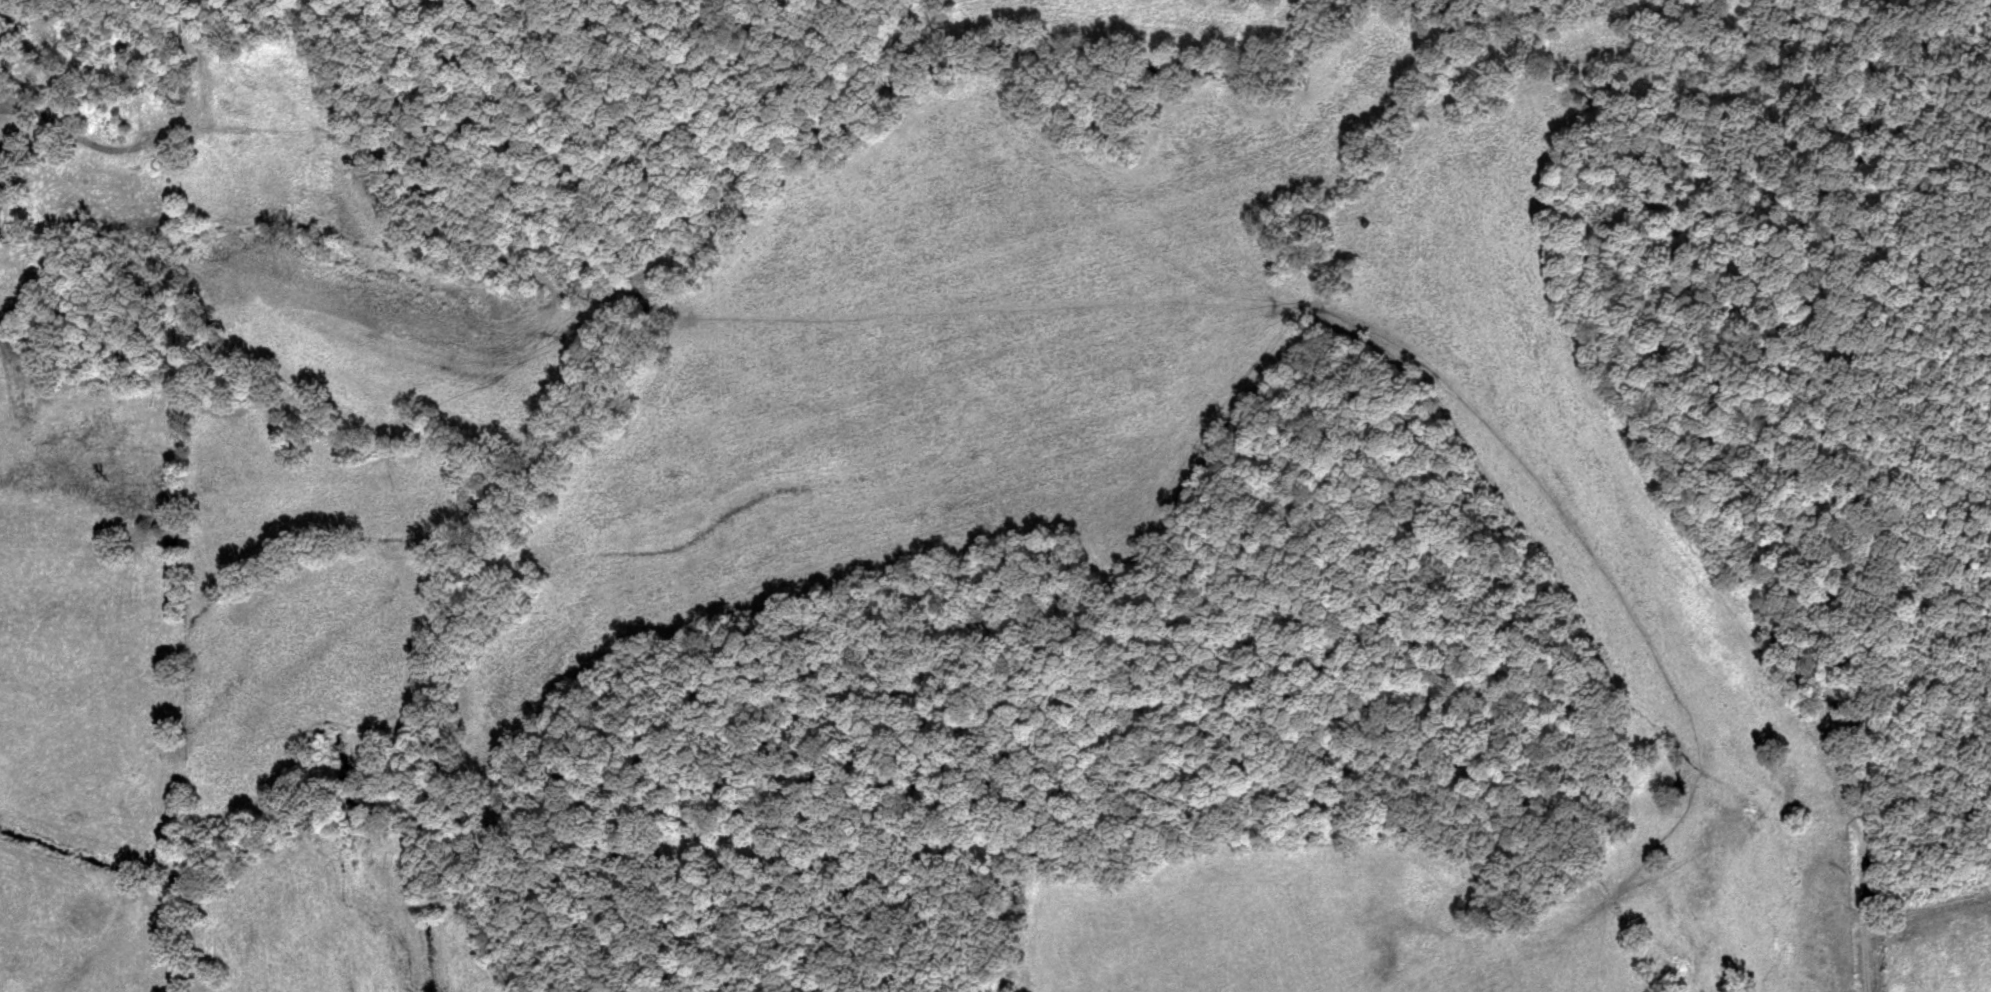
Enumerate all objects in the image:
road: (1938, 945)
building: (1840, 946)

